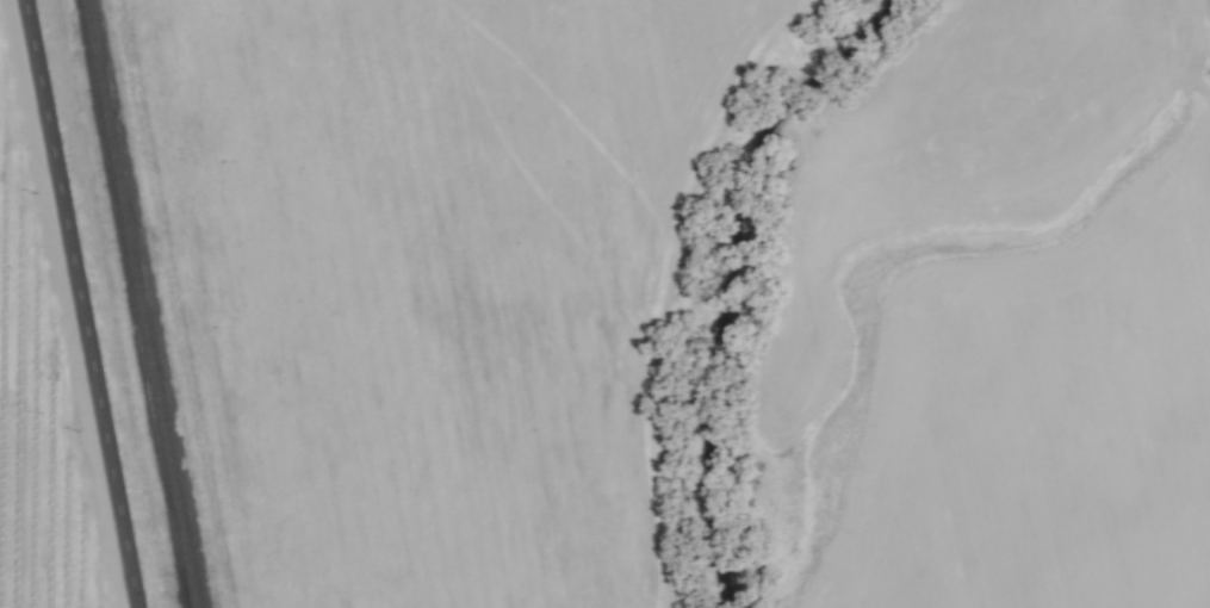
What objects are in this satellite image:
road: (79, 304)
railway: (138, 304)

